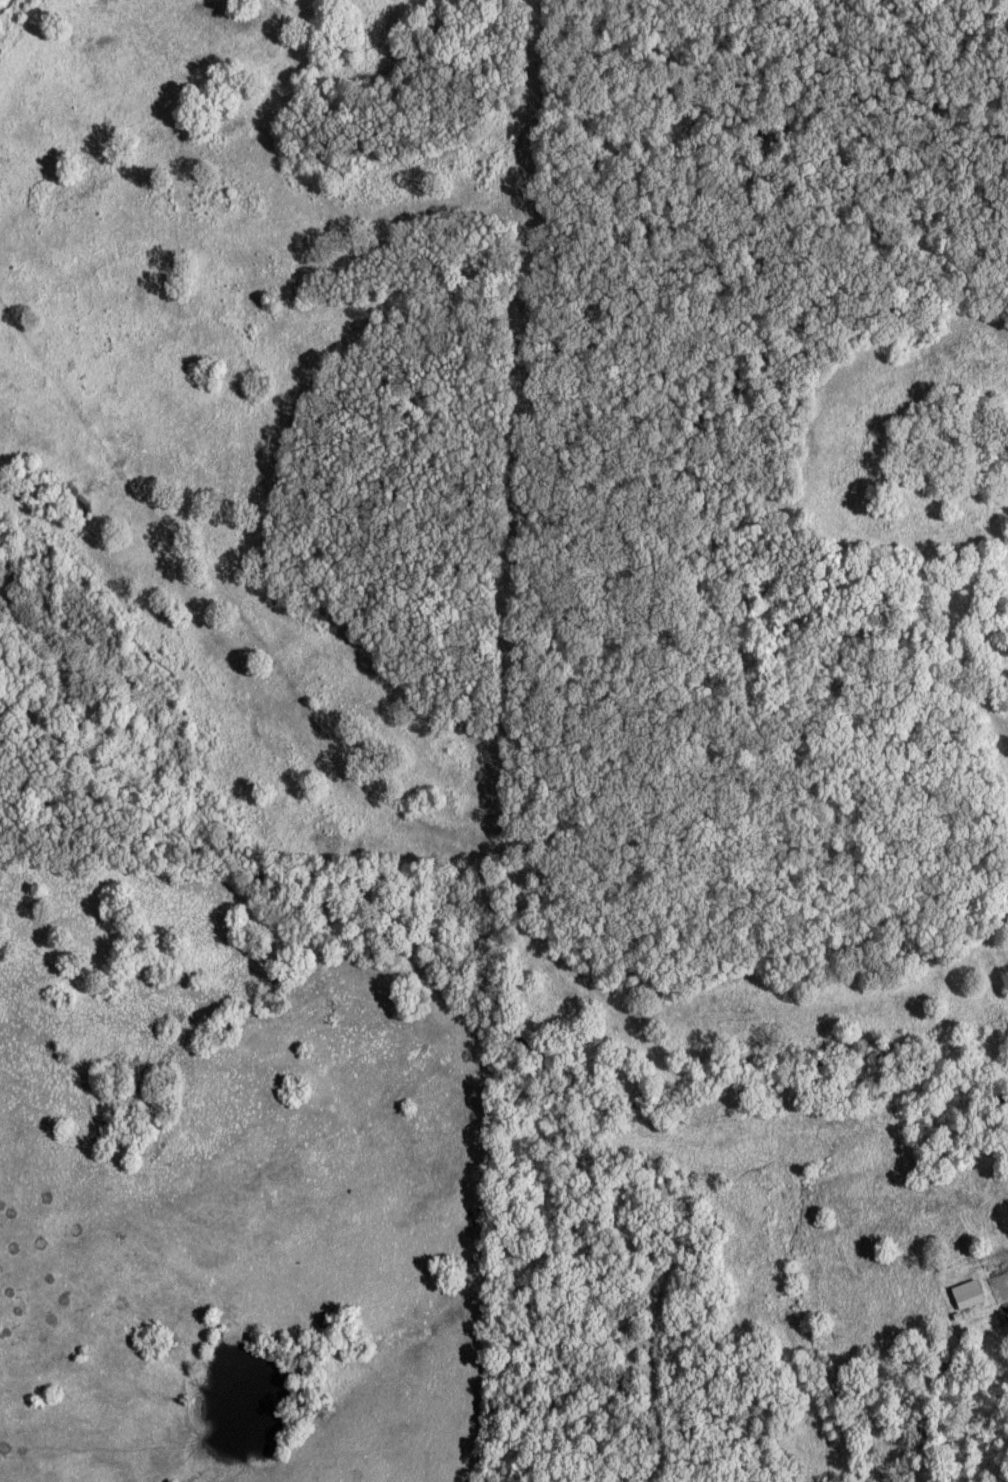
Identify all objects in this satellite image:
building: (970, 1297)
road: (990, 1385)

